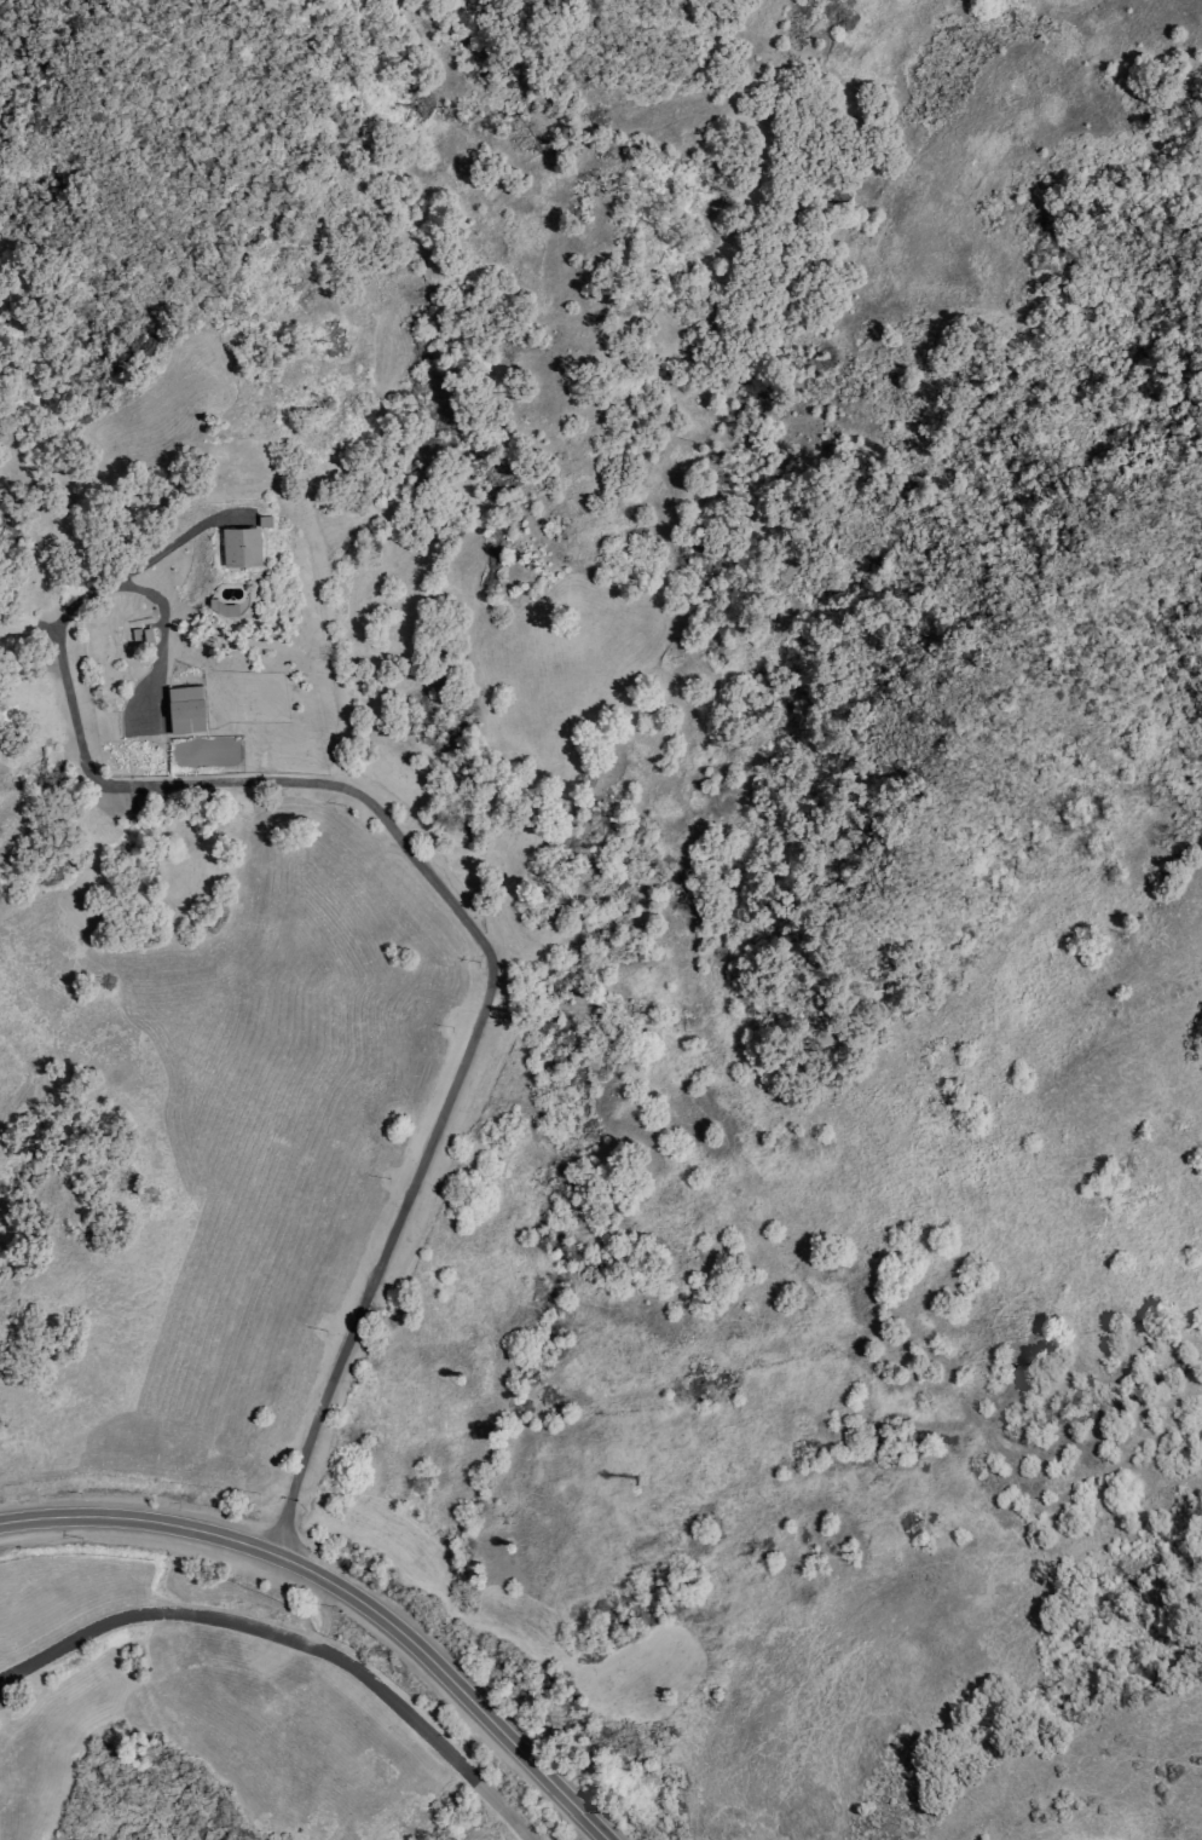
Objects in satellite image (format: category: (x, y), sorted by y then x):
building: (241, 546)
road: (145, 590)
building: (185, 709)
road: (259, 779)
road: (376, 1265)
road: (225, 1539)
road: (322, 1616)
road: (294, 1642)
park: (181, 1688)
road: (514, 1746)

